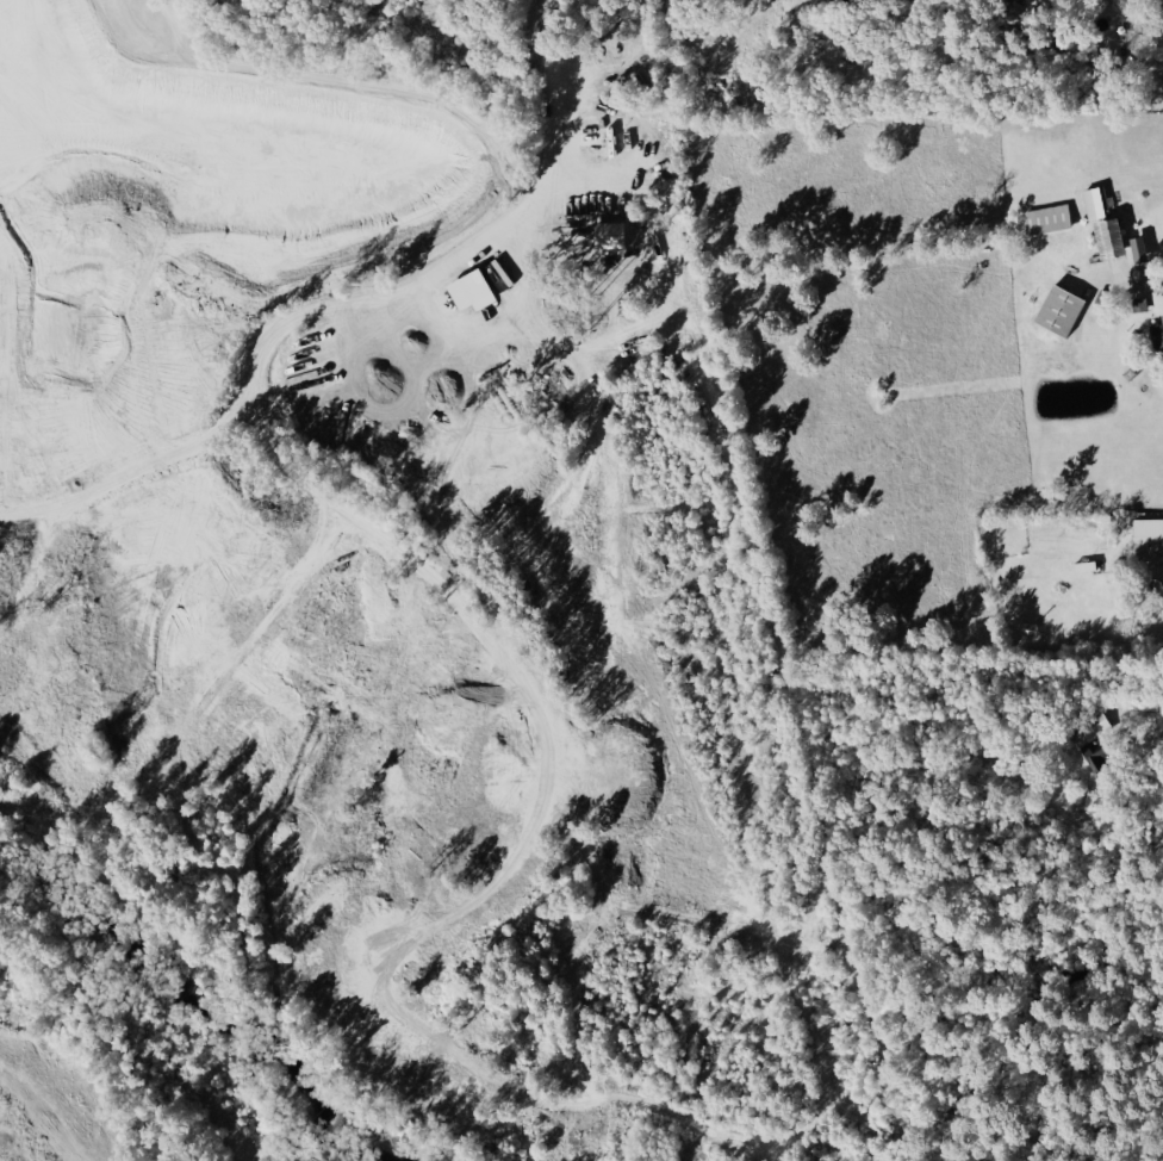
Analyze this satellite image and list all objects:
road: (205, 175)
building: (1047, 221)
building: (617, 235)
building: (1106, 238)
building: (1137, 252)
road: (468, 256)
road: (1133, 284)
building: (1057, 312)
building: (1156, 339)
building: (1146, 534)
road: (1115, 725)
building: (1093, 728)
river: (197, 1002)
road: (51, 1100)

